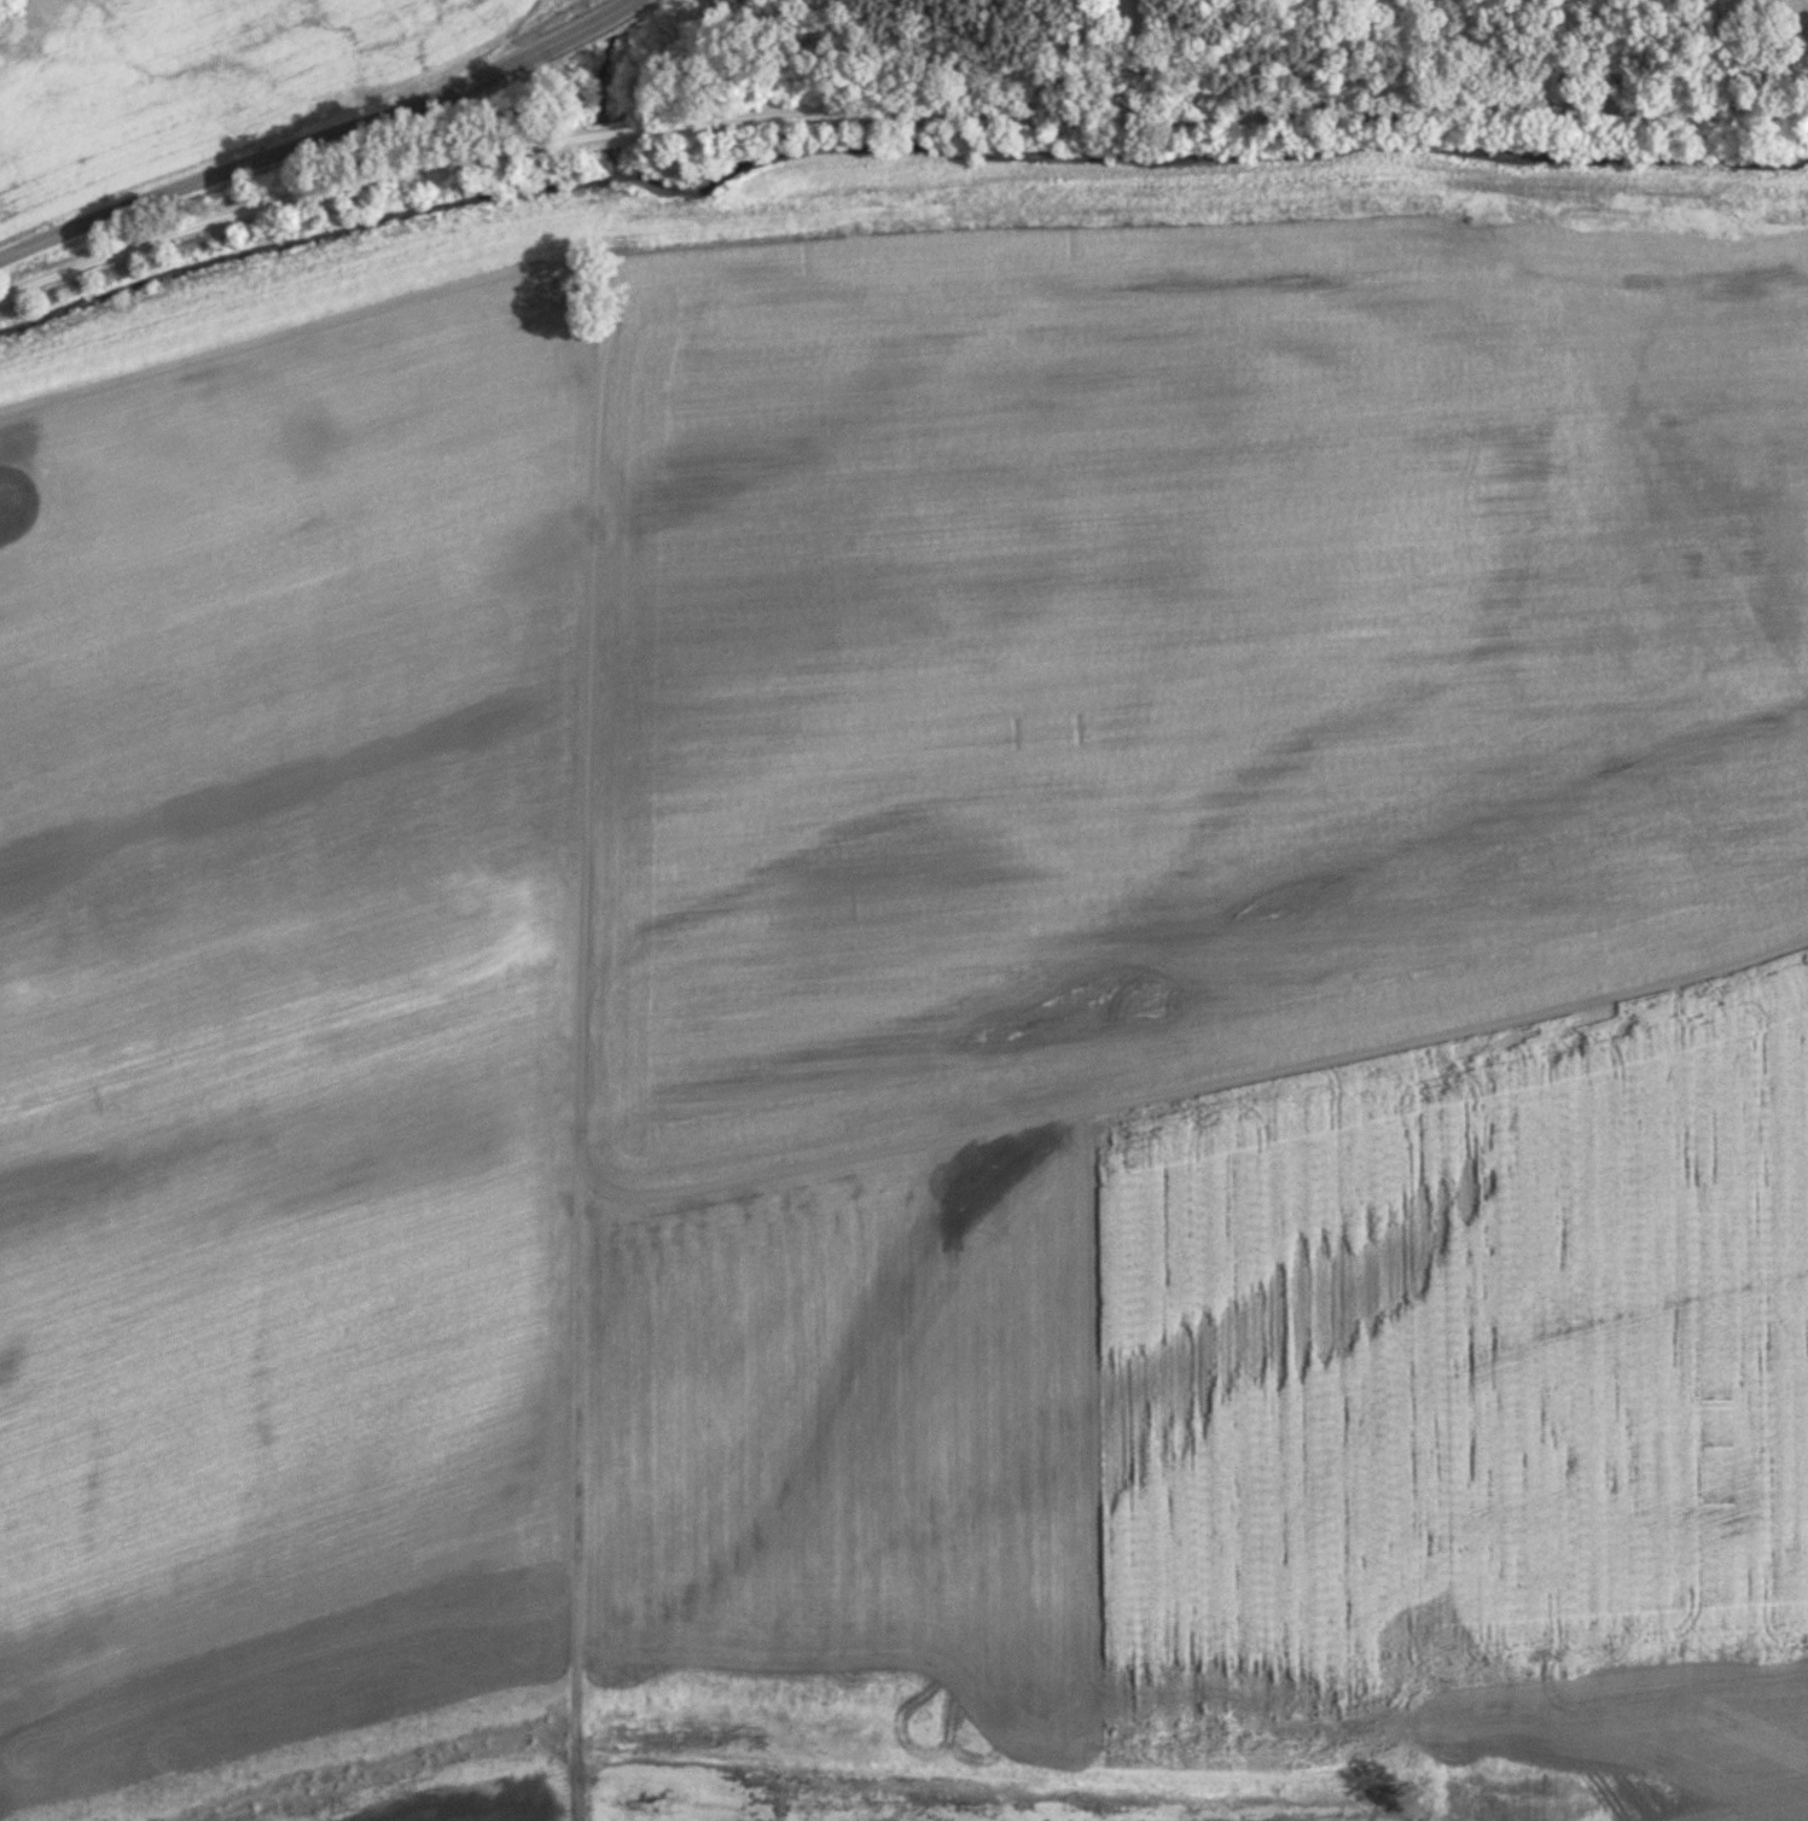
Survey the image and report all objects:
road: (891, 112)
road: (316, 138)

